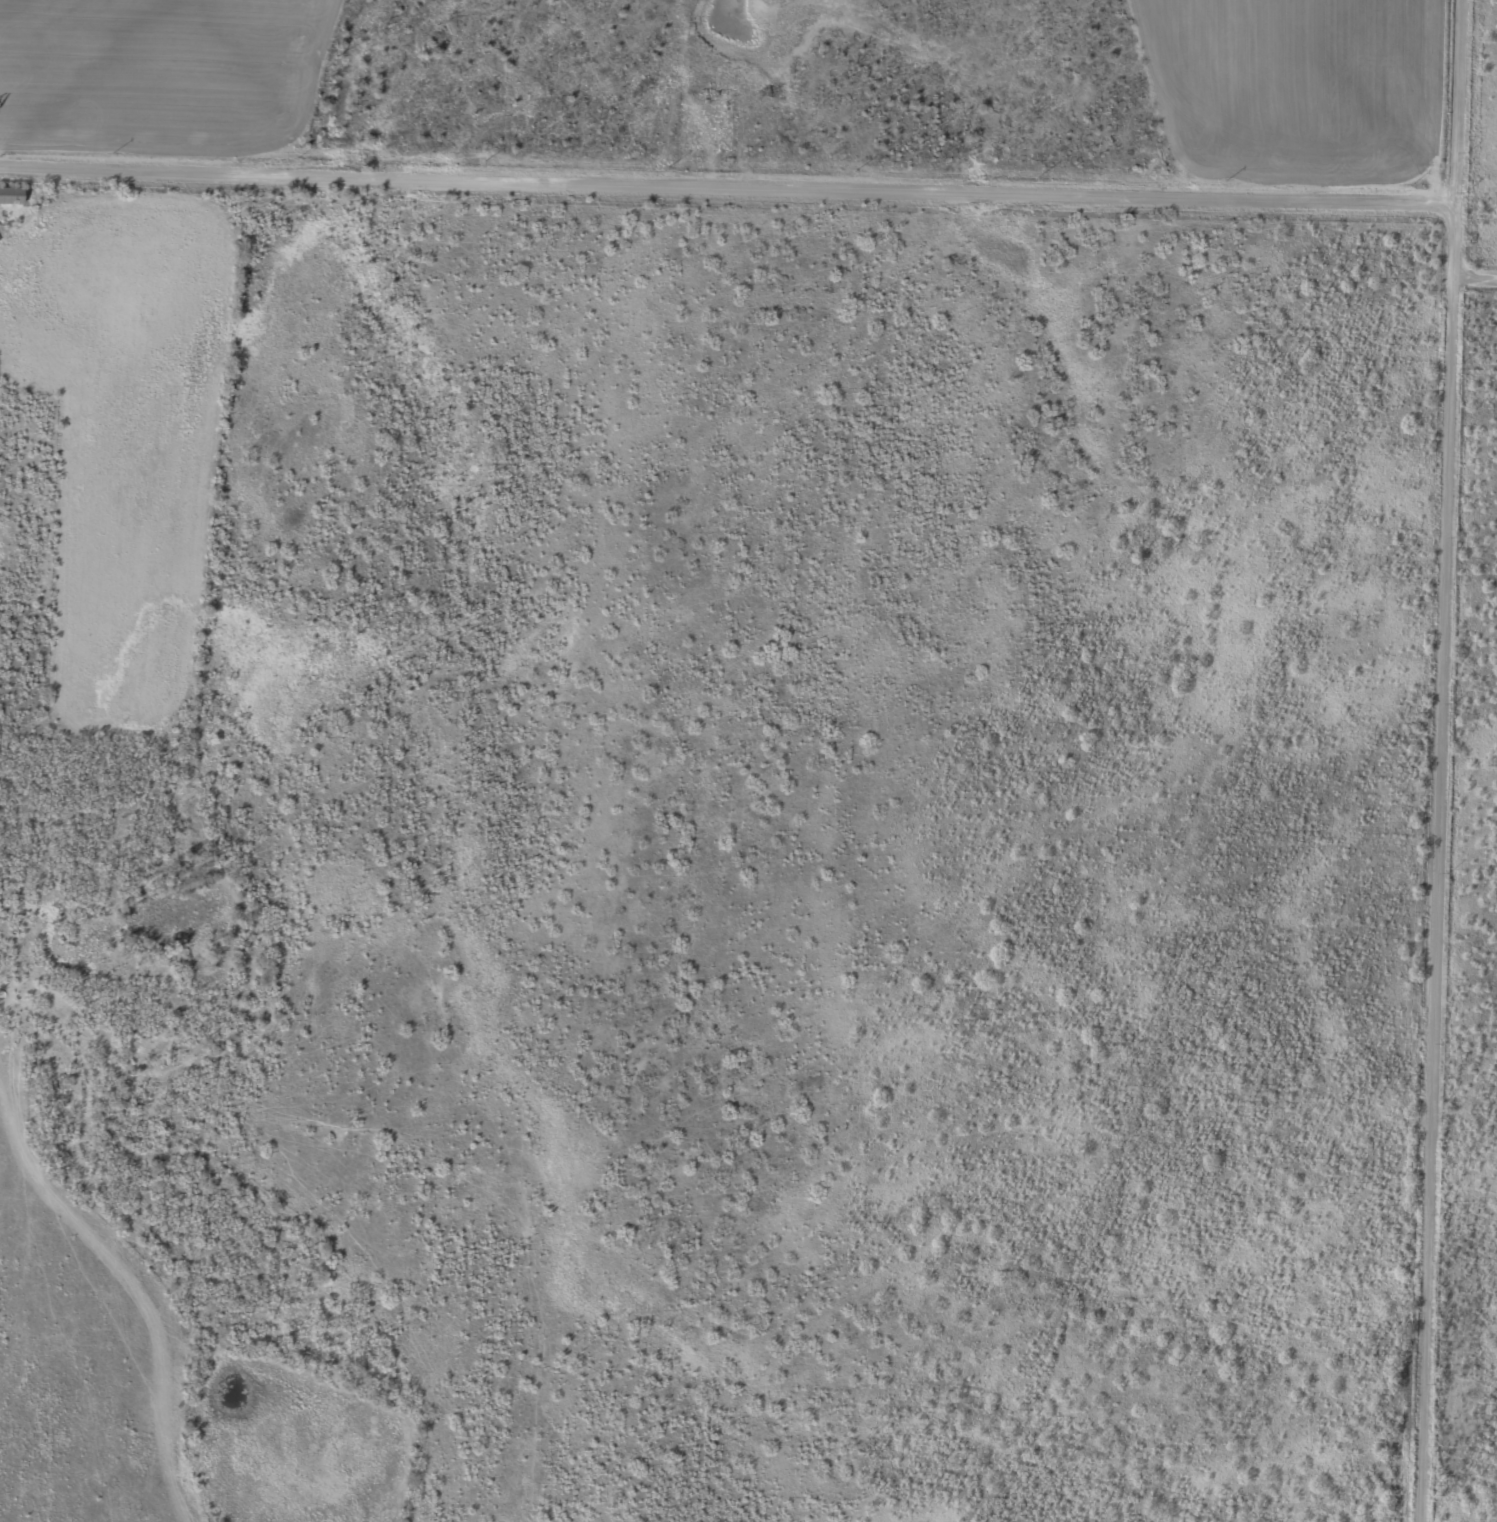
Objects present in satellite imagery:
road: (728, 182)
building: (11, 196)
road: (1476, 274)
road: (1443, 761)

